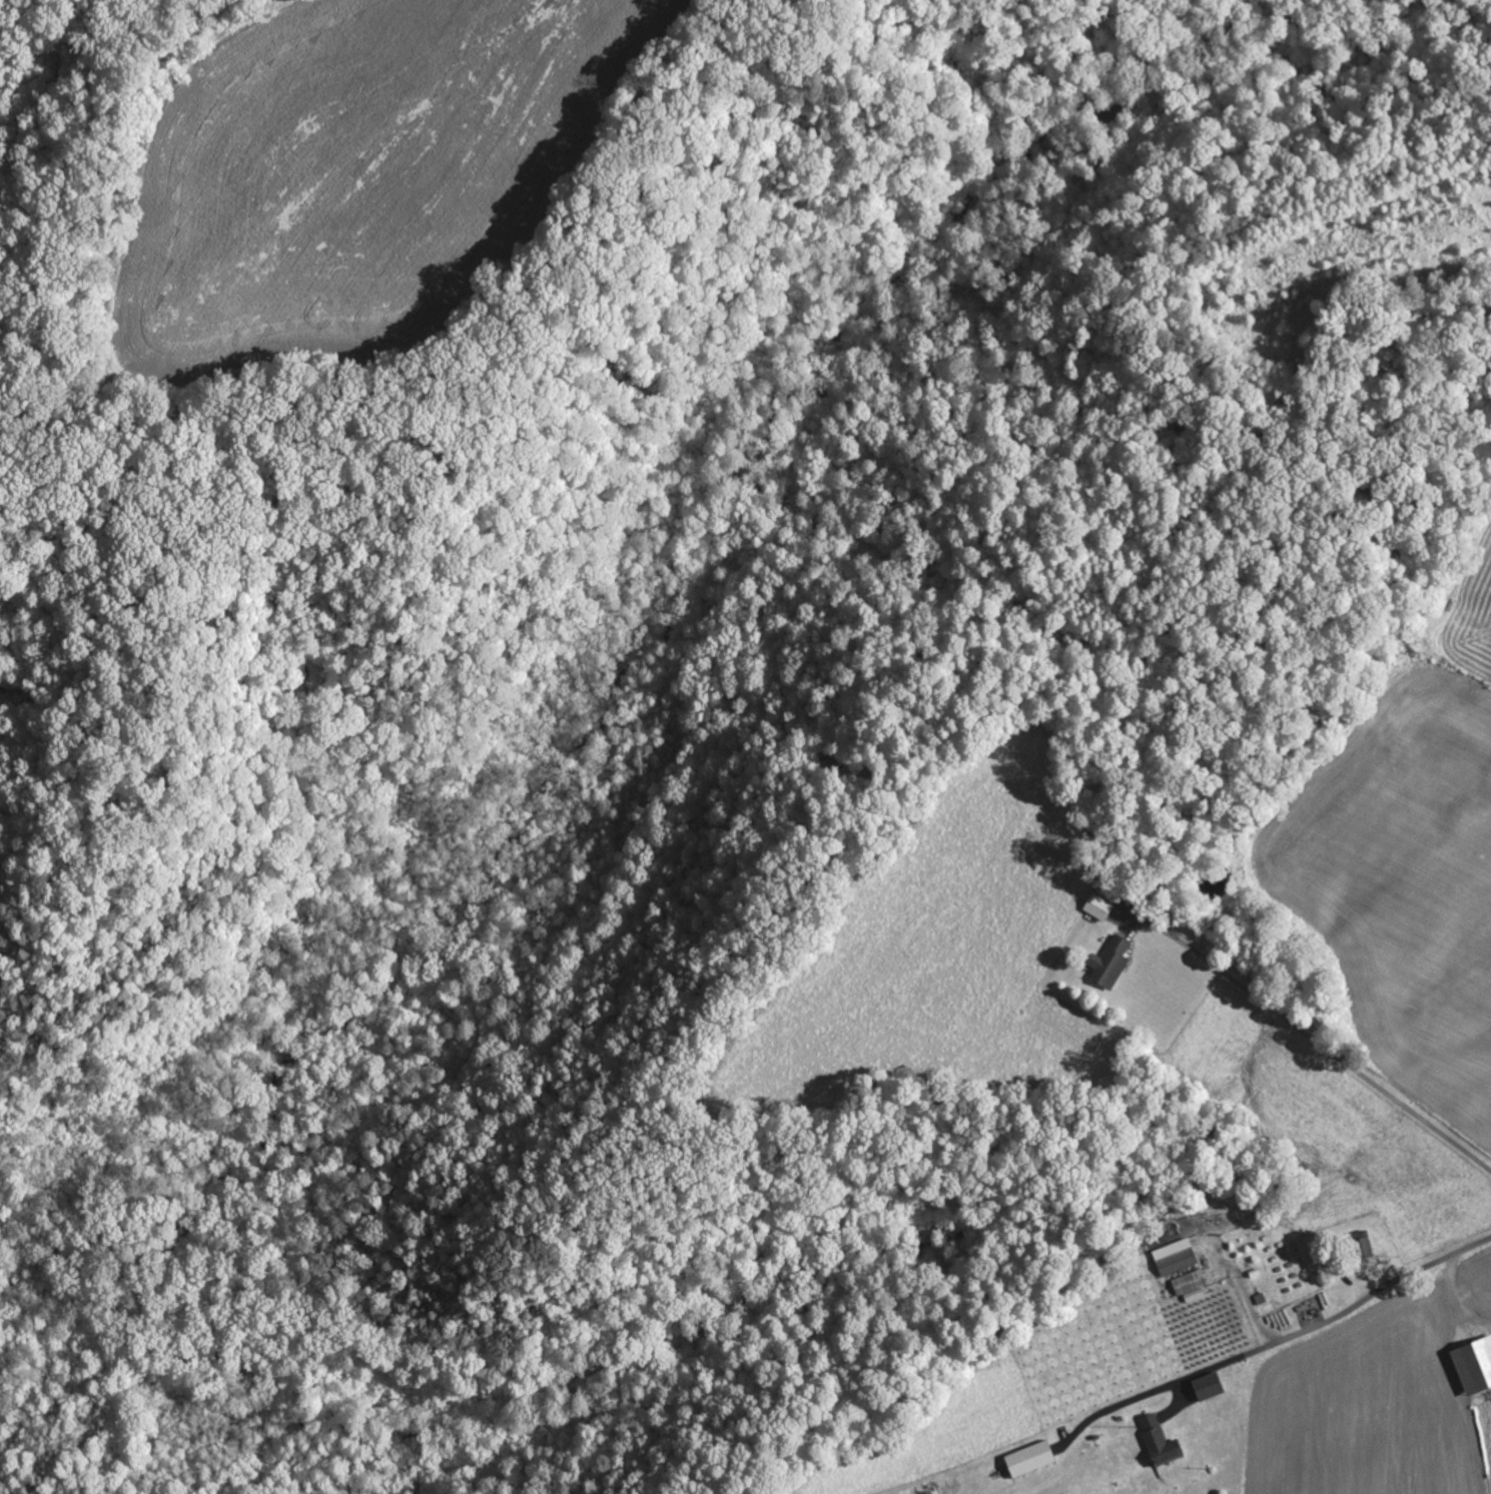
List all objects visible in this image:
building: (1106, 963)
building: (1359, 1243)
building: (1173, 1257)
building: (1188, 1286)
road: (1349, 1311)
building: (1472, 1364)
building: (1202, 1387)
building: (1154, 1441)
building: (1025, 1460)

